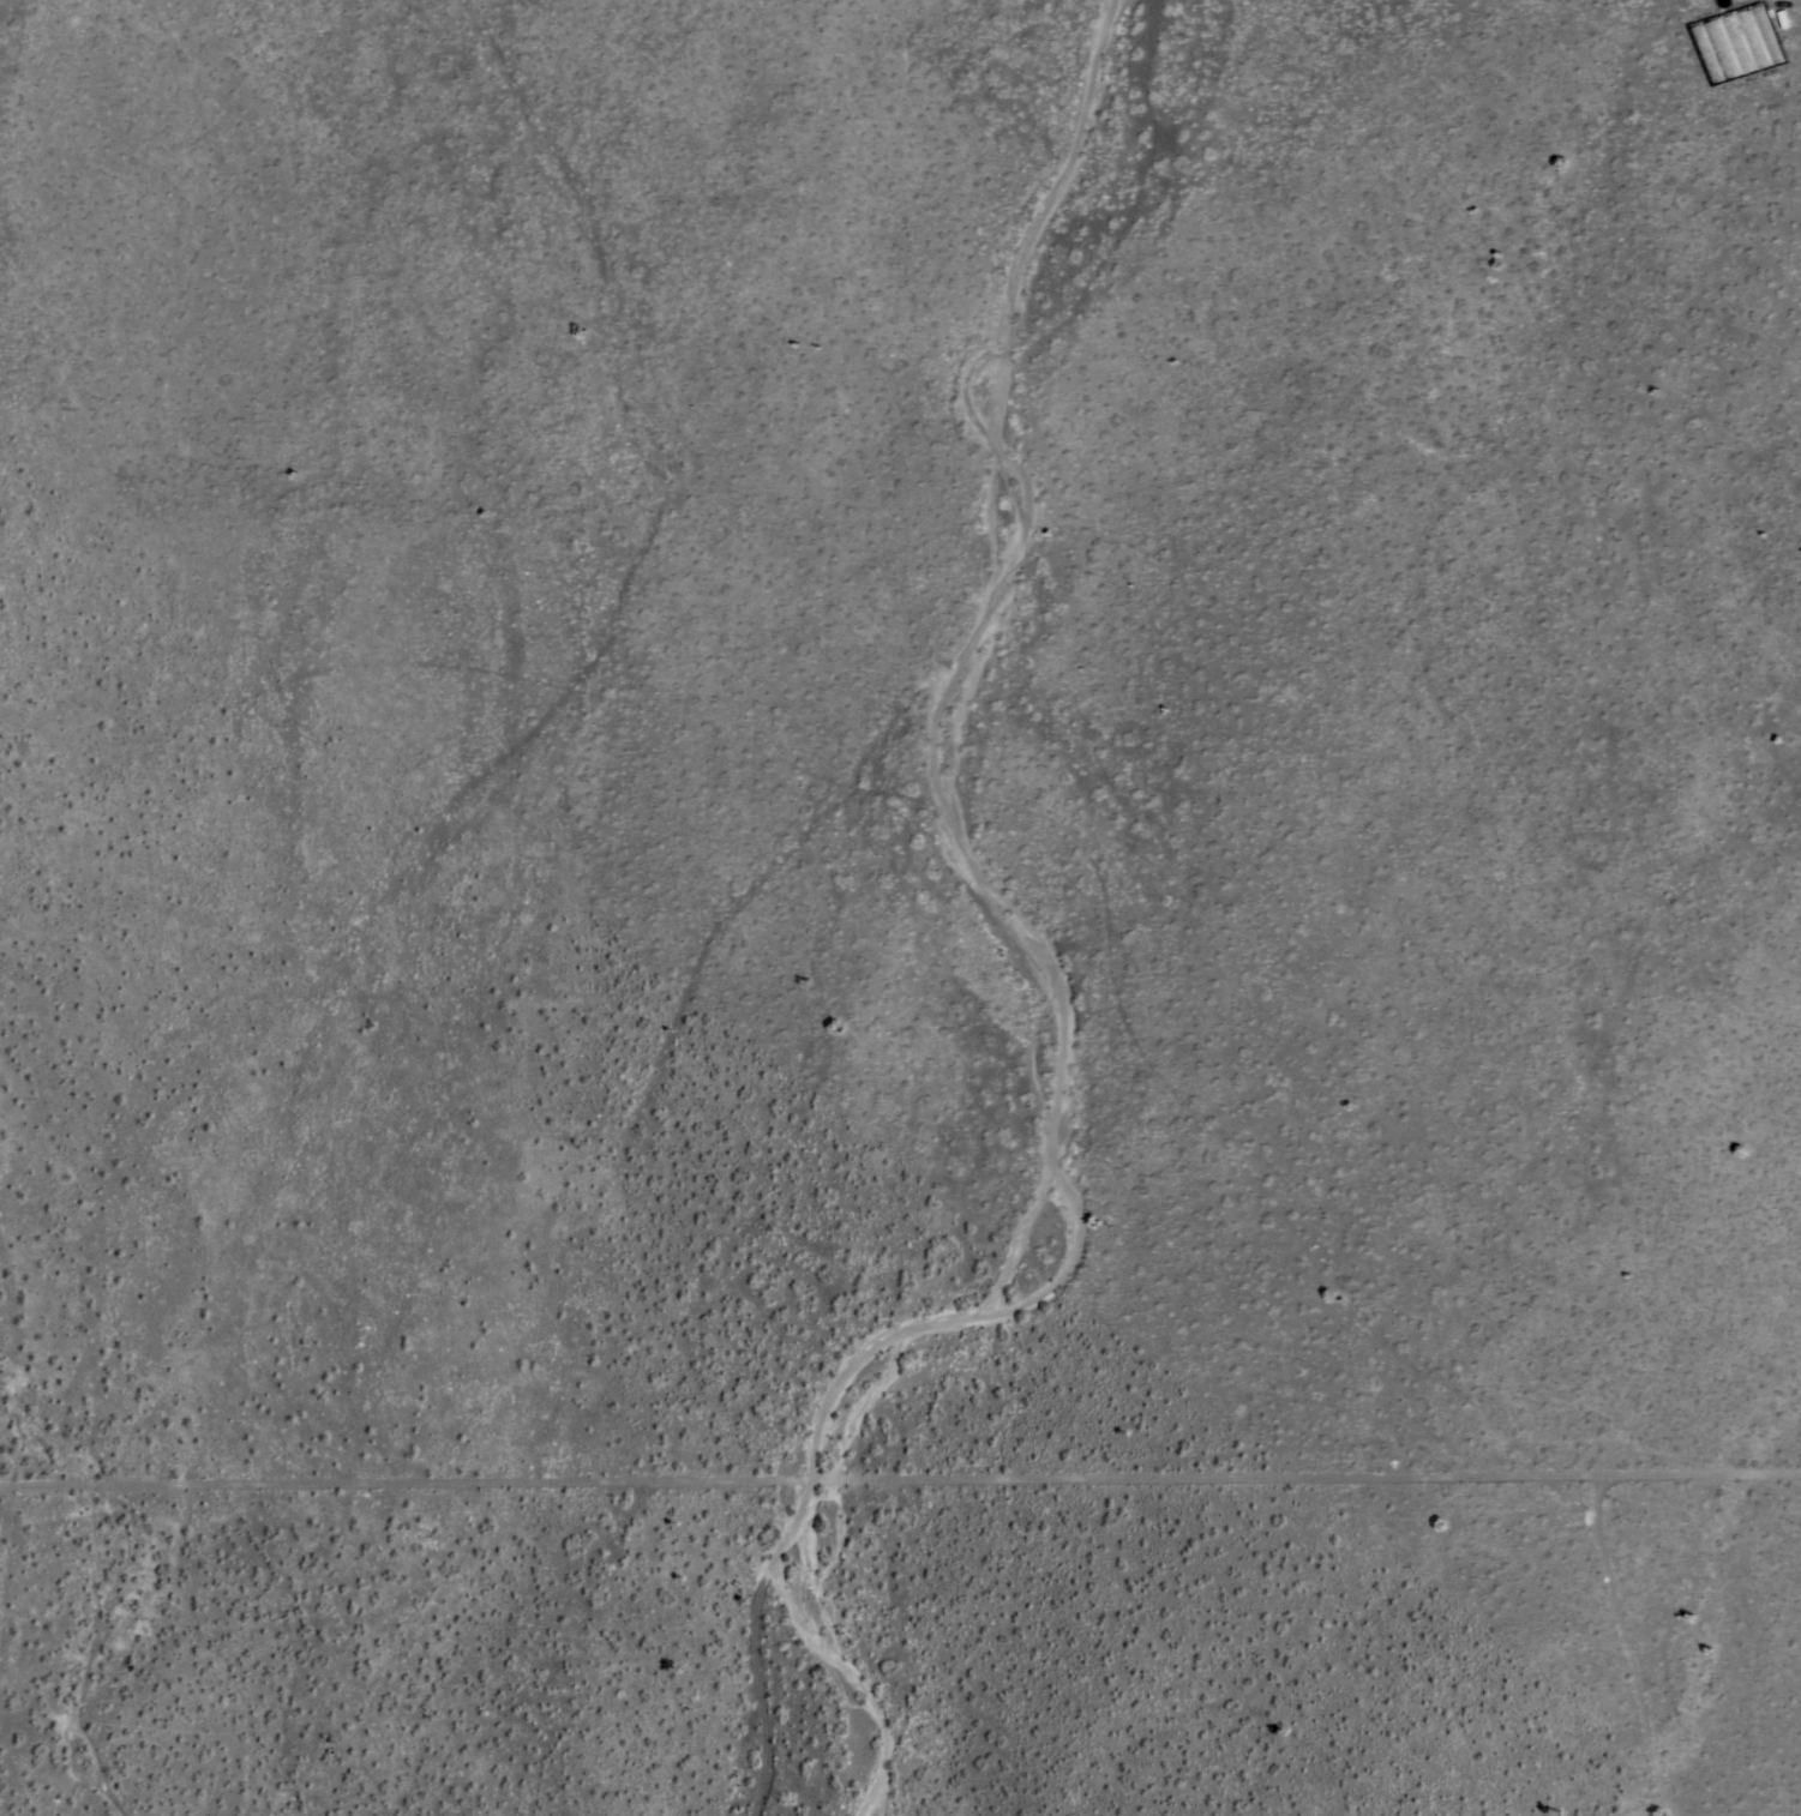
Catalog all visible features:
road: (900, 1486)

